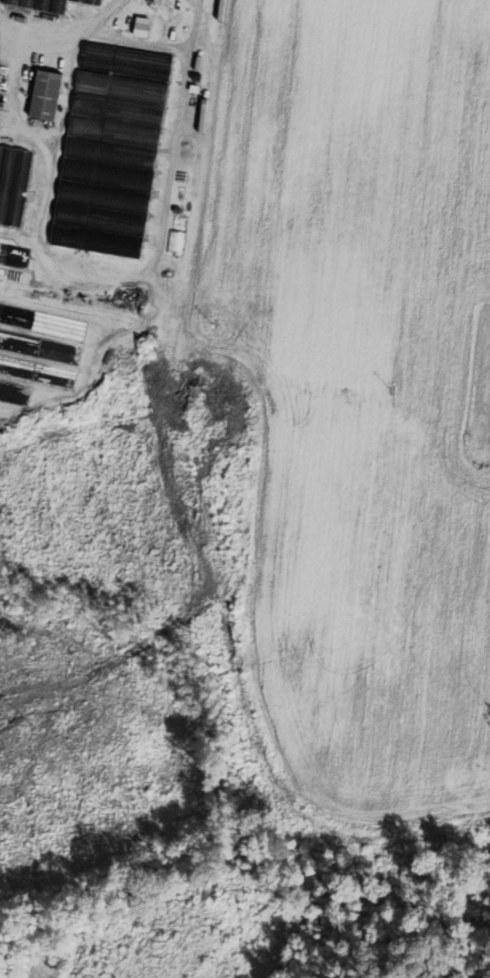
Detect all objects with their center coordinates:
building: (80, 0)
building: (9, 1)
building: (90, 1)
building: (25, 3)
building: (40, 4)
building: (56, 6)
building: (142, 23)
road: (121, 38)
building: (127, 54)
building: (124, 67)
road: (11, 81)
building: (121, 87)
building: (44, 94)
building: (118, 110)
building: (114, 133)
building: (111, 155)
building: (106, 175)
building: (12, 184)
building: (103, 197)
building: (99, 218)
building: (96, 240)
road: (108, 280)
crop: (359, 385)

